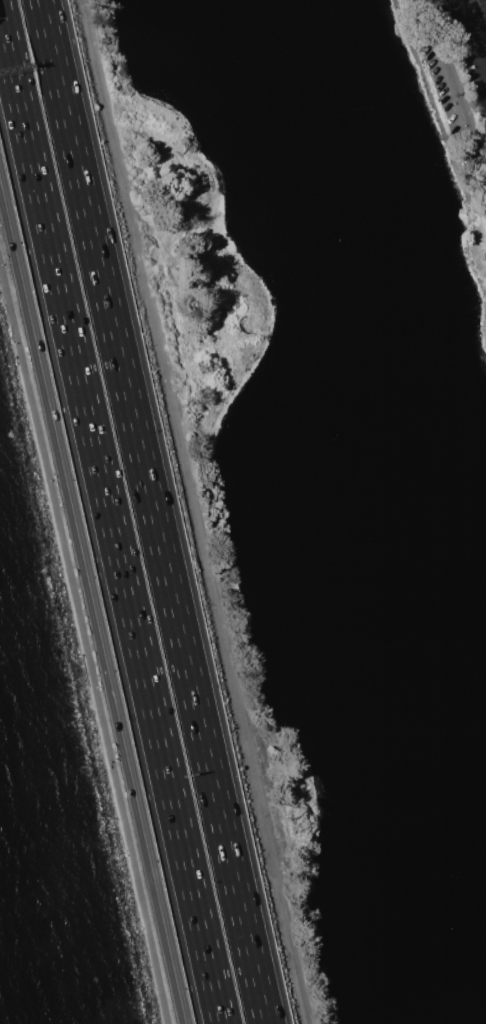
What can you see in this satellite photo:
road: (475, 16)
road: (472, 41)
road: (455, 85)
road: (434, 107)
park: (328, 452)
road: (157, 511)
road: (198, 512)
road: (111, 518)
road: (92, 604)
park: (82, 642)
road: (82, 650)

